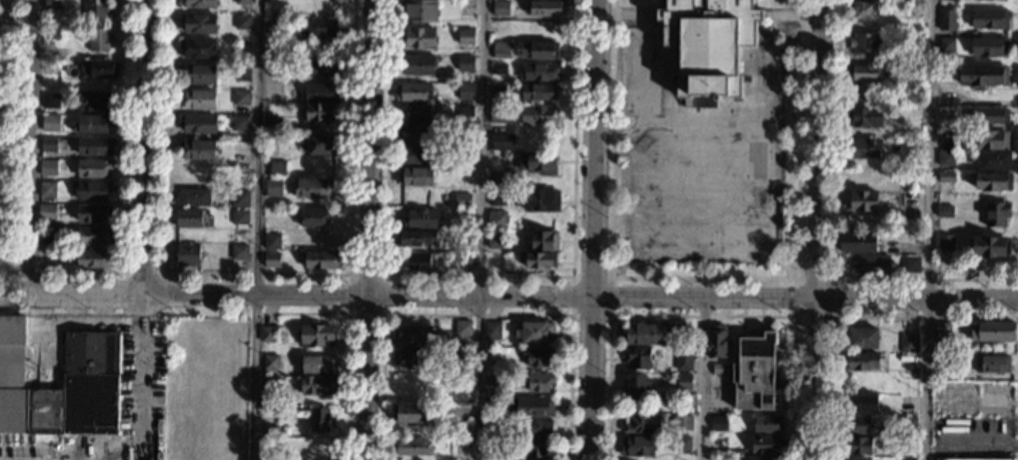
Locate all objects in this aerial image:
building: (242, 1)
building: (200, 3)
building: (52, 4)
building: (500, 7)
building: (96, 8)
building: (547, 8)
building: (912, 9)
building: (419, 10)
building: (864, 10)
building: (947, 19)
building: (989, 19)
building: (243, 22)
building: (198, 23)
building: (277, 27)
building: (321, 27)
building: (52, 34)
building: (466, 36)
building: (419, 37)
building: (98, 39)
building: (915, 41)
building: (865, 42)
building: (947, 45)
building: (709, 46)
building: (989, 46)
building: (198, 48)
building: (501, 49)
building: (537, 50)
building: (465, 63)
building: (418, 64)
building: (63, 65)
building: (99, 68)
building: (276, 68)
building: (499, 68)
building: (323, 69)
building: (913, 69)
building: (539, 71)
building: (867, 72)
building: (242, 73)
building: (199, 74)
building: (981, 75)
building: (498, 89)
building: (413, 91)
building: (537, 91)
building: (321, 92)
building: (466, 92)
building: (242, 97)
building: (198, 98)
building: (50, 99)
building: (95, 100)
road: (644, 107)
building: (465, 110)
building: (318, 112)
building: (418, 113)
building: (499, 113)
building: (540, 115)
building: (990, 115)
building: (864, 117)
building: (50, 122)
building: (240, 122)
building: (91, 123)
building: (197, 123)
building: (273, 125)
building: (421, 132)
building: (464, 135)
building: (946, 138)
building: (990, 139)
park: (16, 141)
building: (503, 141)
building: (52, 144)
building: (321, 144)
road: (32, 146)
building: (94, 146)
road: (144, 146)
building: (864, 147)
building: (241, 148)
road: (819, 148)
building: (199, 149)
building: (464, 151)
building: (417, 155)
building: (946, 158)
building: (994, 160)
building: (538, 162)
building: (48, 168)
building: (92, 168)
building: (277, 168)
building: (469, 172)
building: (193, 174)
building: (416, 176)
building: (946, 176)
building: (496, 181)
building: (993, 181)
road: (126, 184)
building: (274, 187)
building: (312, 187)
road: (5, 189)
building: (47, 189)
building: (92, 190)
building: (192, 196)
building: (498, 197)
building: (240, 198)
building: (462, 200)
building: (541, 200)
building: (863, 202)
building: (945, 211)
building: (47, 212)
building: (93, 212)
building: (996, 213)
building: (240, 217)
building: (314, 217)
building: (190, 218)
building: (422, 218)
building: (462, 219)
building: (497, 219)
road: (927, 229)
road: (256, 230)
road: (369, 230)
road: (479, 230)
road: (592, 230)
road: (833, 231)
building: (47, 234)
building: (93, 236)
building: (414, 237)
building: (496, 240)
building: (545, 240)
building: (272, 241)
building: (945, 241)
building: (858, 242)
building: (989, 246)
building: (239, 251)
building: (187, 254)
building: (92, 258)
building: (319, 259)
building: (538, 259)
building: (272, 260)
building: (418, 261)
building: (462, 262)
building: (869, 263)
building: (910, 263)
road: (13, 270)
road: (255, 273)
road: (383, 276)
road: (477, 276)
road: (124, 277)
road: (702, 279)
road: (523, 295)
road: (28, 303)
road: (75, 314)
road: (476, 315)
road: (608, 315)
road: (700, 316)
road: (832, 316)
road: (853, 317)
road: (70, 327)
building: (463, 327)
building: (492, 329)
building: (942, 331)
building: (993, 331)
building: (534, 332)
building: (268, 333)
building: (655, 334)
building: (316, 335)
road: (140, 336)
building: (412, 336)
building: (437, 337)
building: (863, 338)
building: (716, 340)
road: (346, 341)
building: (909, 342)
building: (460, 354)
building: (494, 354)
building: (537, 356)
building: (639, 357)
building: (683, 358)
building: (410, 360)
building: (271, 361)
building: (861, 361)
building: (941, 361)
building: (992, 363)
building: (316, 364)
building: (720, 369)
building: (756, 372)
road: (701, 378)
road: (814, 378)
building: (491, 380)
building: (91, 381)
building: (539, 382)
building: (683, 382)
building: (272, 383)
building: (318, 384)
building: (409, 384)
building: (636, 385)
building: (493, 401)
building: (861, 403)
building: (907, 403)
building: (531, 406)
building: (409, 413)
building: (319, 419)
building: (681, 422)
building: (719, 423)
building: (766, 423)
building: (907, 423)
building: (642, 424)
building: (857, 424)
building: (493, 427)
building: (542, 428)
building: (271, 430)
building: (461, 431)
building: (682, 444)
building: (767, 444)
building: (908, 444)
building: (858, 445)
building: (638, 446)
building: (412, 447)
building: (535, 447)
road: (1017, 452)
building: (760, 458)
building: (971, 458)
building: (858, 459)
building: (909, 459)

